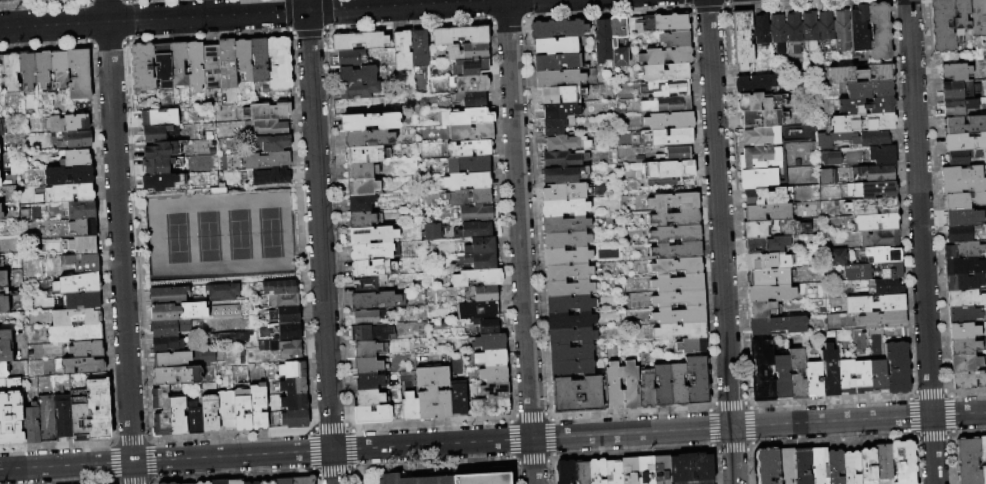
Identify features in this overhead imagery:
building: (3, 1)
road: (406, 2)
road: (207, 7)
road: (19, 13)
road: (236, 13)
building: (961, 16)
building: (978, 17)
building: (672, 22)
building: (640, 25)
building: (942, 26)
building: (827, 27)
building: (558, 29)
building: (860, 29)
building: (761, 30)
building: (810, 30)
building: (843, 30)
building: (794, 31)
building: (880, 31)
building: (778, 33)
building: (461, 35)
building: (676, 39)
building: (743, 39)
building: (360, 41)
building: (613, 42)
building: (603, 43)
building: (557, 45)
building: (419, 48)
building: (403, 51)
building: (468, 52)
building: (666, 56)
building: (245, 58)
building: (352, 58)
building: (260, 59)
building: (558, 61)
building: (179, 64)
building: (228, 64)
building: (280, 64)
building: (196, 65)
building: (164, 66)
building: (212, 67)
building: (144, 68)
building: (471, 68)
building: (36, 69)
building: (60, 69)
building: (12, 71)
building: (667, 72)
building: (956, 72)
building: (1, 73)
building: (359, 74)
building: (861, 74)
building: (80, 75)
building: (559, 79)
building: (470, 84)
building: (757, 84)
building: (667, 88)
building: (870, 89)
building: (359, 90)
building: (959, 90)
building: (563, 95)
building: (472, 100)
building: (760, 102)
building: (668, 105)
building: (868, 106)
building: (358, 107)
building: (957, 107)
building: (558, 111)
building: (271, 112)
building: (464, 117)
building: (160, 118)
building: (763, 119)
building: (670, 120)
building: (371, 122)
building: (71, 123)
building: (864, 123)
building: (965, 125)
building: (557, 126)
building: (2, 128)
building: (272, 128)
building: (155, 133)
building: (472, 133)
building: (763, 136)
building: (670, 137)
building: (80, 138)
building: (369, 138)
building: (854, 139)
building: (964, 142)
building: (275, 143)
building: (567, 143)
building: (471, 148)
building: (161, 150)
building: (676, 154)
building: (368, 155)
building: (884, 155)
building: (964, 156)
building: (828, 157)
building: (0, 158)
building: (761, 158)
building: (77, 159)
building: (565, 159)
building: (268, 160)
building: (470, 164)
building: (158, 166)
building: (668, 169)
building: (362, 171)
building: (878, 173)
building: (70, 175)
building: (565, 175)
building: (823, 175)
building: (270, 176)
building: (759, 179)
building: (963, 180)
building: (0, 181)
building: (469, 181)
building: (160, 182)
building: (366, 187)
building: (872, 190)
building: (565, 192)
building: (70, 193)
building: (769, 196)
building: (470, 197)
building: (676, 199)
building: (963, 201)
building: (362, 203)
building: (872, 206)
building: (565, 208)
building: (81, 210)
building: (769, 212)
building: (1, 213)
building: (477, 214)
building: (961, 217)
building: (676, 218)
building: (362, 219)
building: (877, 222)
building: (566, 224)
road: (319, 225)
building: (84, 228)
building: (775, 228)
building: (430, 230)
building: (476, 230)
building: (676, 233)
building: (963, 234)
building: (373, 235)
park: (218, 236)
park: (218, 236)
building: (880, 239)
building: (567, 240)
road: (119, 241)
road: (520, 241)
road: (922, 241)
road: (721, 242)
building: (84, 245)
building: (767, 245)
building: (483, 247)
building: (678, 250)
building: (964, 250)
building: (375, 251)
building: (880, 255)
building: (568, 256)
building: (837, 257)
building: (483, 260)
building: (761, 261)
building: (2, 262)
building: (82, 262)
building: (677, 266)
building: (965, 266)
building: (374, 268)
building: (873, 271)
building: (569, 272)
building: (478, 277)
building: (770, 277)
building: (966, 282)
building: (679, 283)
building: (78, 284)
building: (369, 284)
building: (282, 287)
building: (888, 287)
building: (571, 288)
building: (7, 292)
building: (224, 292)
building: (486, 293)
building: (771, 293)
building: (169, 295)
building: (680, 298)
building: (966, 298)
building: (84, 300)
building: (285, 300)
building: (378, 300)
building: (570, 304)
building: (876, 304)
building: (762, 310)
building: (193, 311)
building: (480, 311)
building: (286, 315)
building: (681, 315)
building: (965, 315)
building: (77, 317)
building: (369, 317)
building: (884, 319)
building: (571, 321)
building: (779, 325)
building: (488, 326)
building: (170, 328)
building: (682, 331)
building: (965, 331)
building: (291, 332)
building: (373, 333)
building: (76, 334)
building: (572, 336)
building: (234, 337)
building: (491, 342)
building: (167, 345)
building: (692, 345)
building: (6, 346)
building: (965, 346)
building: (87, 349)
building: (291, 349)
building: (371, 349)
building: (572, 353)
building: (208, 357)
building: (492, 358)
building: (172, 360)
building: (967, 363)
building: (371, 365)
building: (81, 366)
building: (572, 368)
building: (898, 368)
building: (294, 369)
building: (3, 371)
building: (762, 371)
building: (831, 371)
building: (798, 373)
building: (495, 374)
building: (177, 376)
building: (879, 376)
building: (783, 377)
building: (847, 377)
building: (862, 377)
building: (814, 379)
building: (698, 380)
building: (969, 380)
building: (371, 381)
building: (679, 385)
building: (294, 386)
building: (631, 386)
building: (664, 386)
building: (614, 387)
building: (496, 390)
building: (648, 391)
building: (434, 393)
building: (580, 394)
building: (371, 398)
building: (459, 399)
building: (296, 402)
building: (410, 406)
building: (490, 407)
building: (260, 408)
building: (99, 409)
building: (242, 409)
building: (227, 410)
building: (162, 411)
building: (10, 412)
building: (397, 412)
building: (211, 414)
building: (373, 414)
building: (80, 415)
building: (64, 416)
building: (178, 416)
building: (48, 418)
building: (195, 418)
building: (296, 419)
building: (32, 423)
road: (659, 431)
building: (983, 449)
road: (166, 459)
building: (904, 461)
building: (969, 461)
building: (884, 462)
building: (787, 465)
building: (819, 465)
building: (768, 466)
building: (803, 466)
building: (868, 466)
road: (333, 467)
building: (835, 467)
building: (852, 467)
building: (692, 468)
building: (661, 469)
building: (630, 470)
building: (645, 470)
building: (598, 471)
building: (566, 472)
building: (582, 472)
building: (614, 472)
building: (984, 474)
building: (455, 477)
building: (304, 480)
building: (284, 481)
building: (208, 482)
building: (220, 482)
building: (235, 482)
building: (268, 482)
building: (164, 483)
building: (172, 483)
building: (200, 483)
building: (248, 483)
building: (256, 483)

